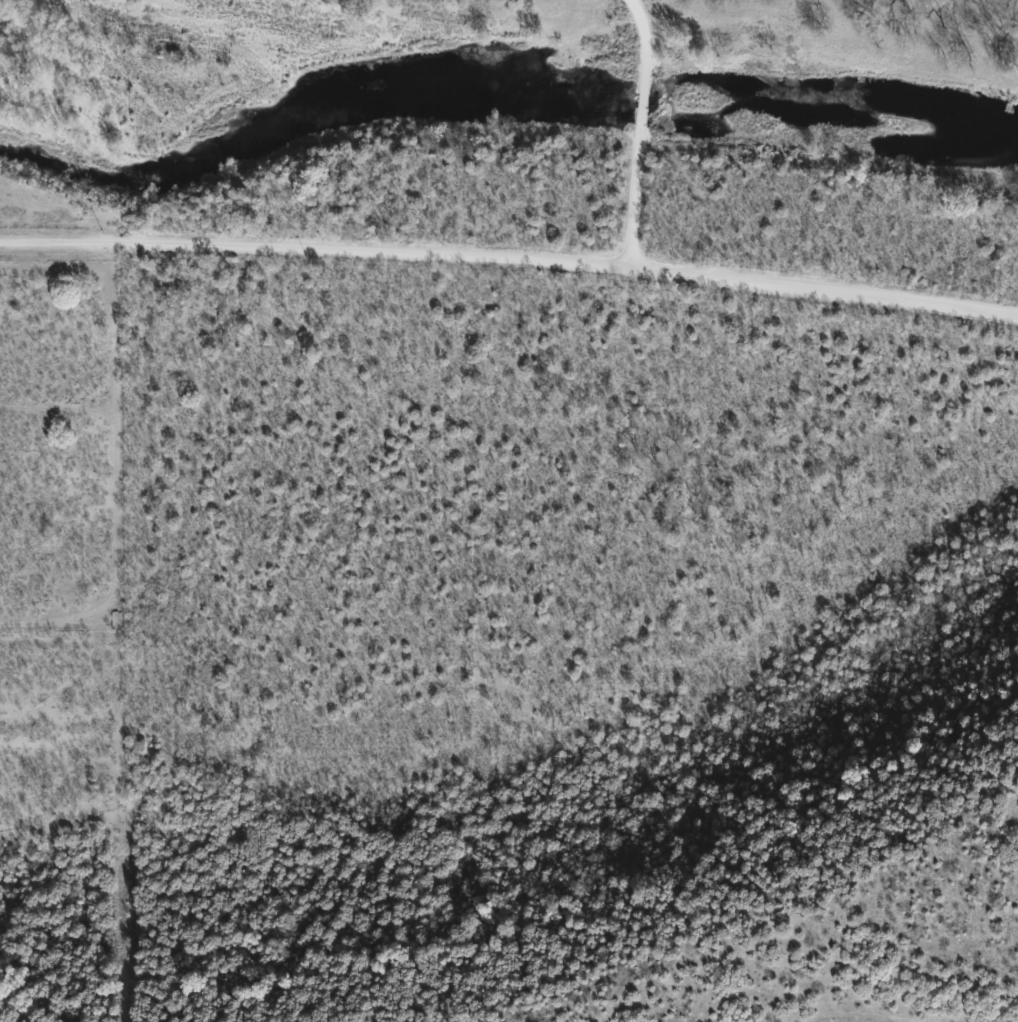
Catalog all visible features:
road: (636, 46)
river: (498, 71)
road: (639, 183)
road: (320, 256)
road: (831, 284)

